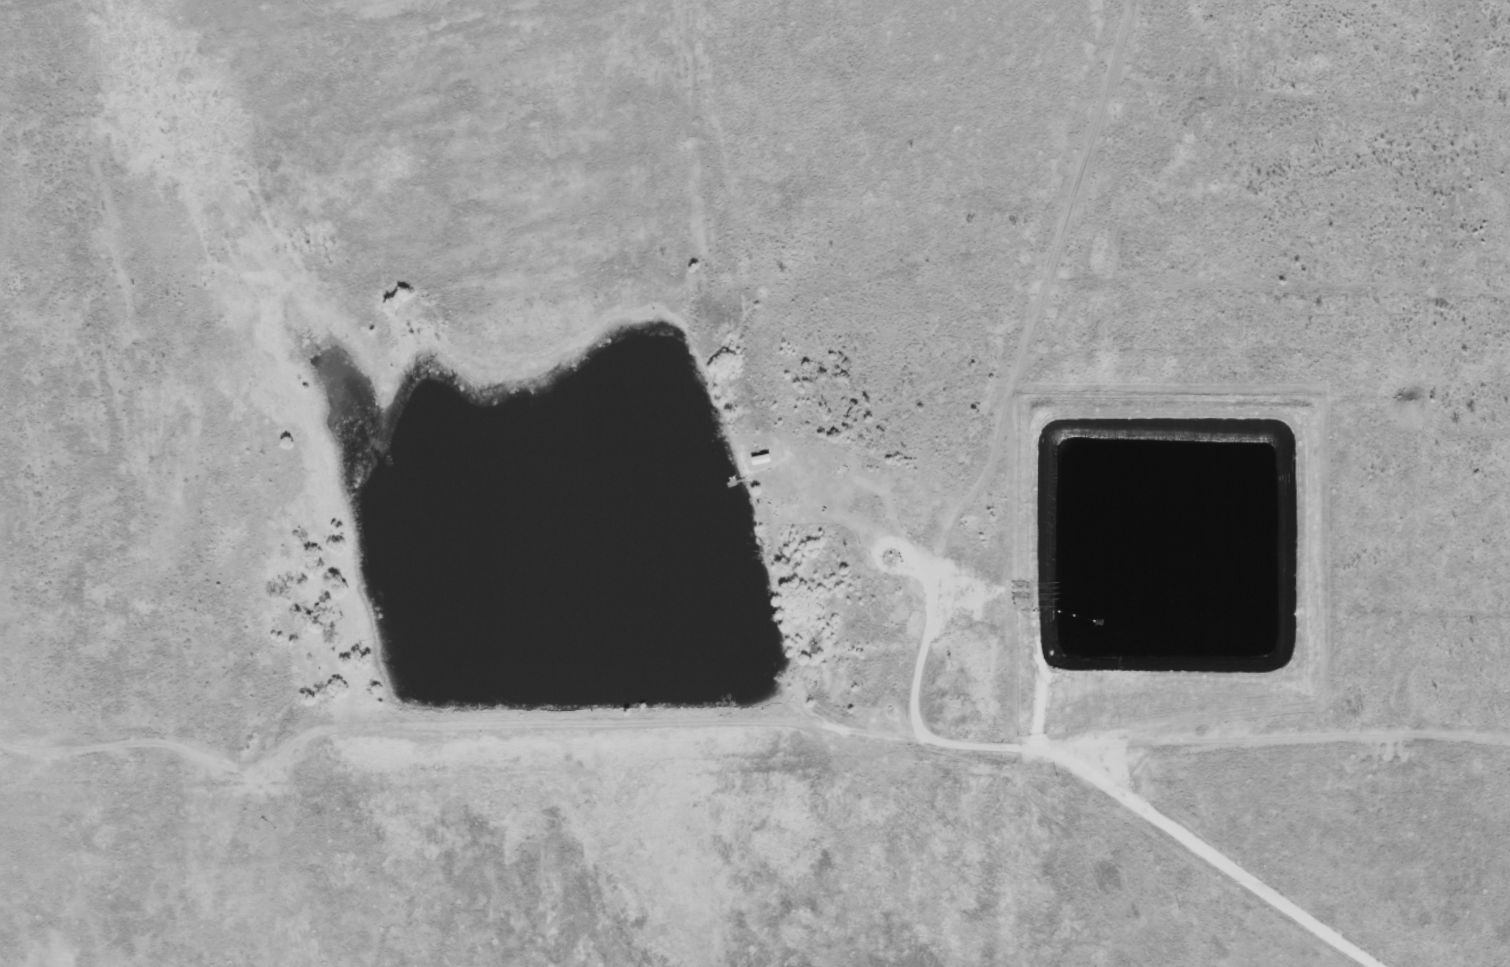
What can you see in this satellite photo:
road: (1193, 858)

